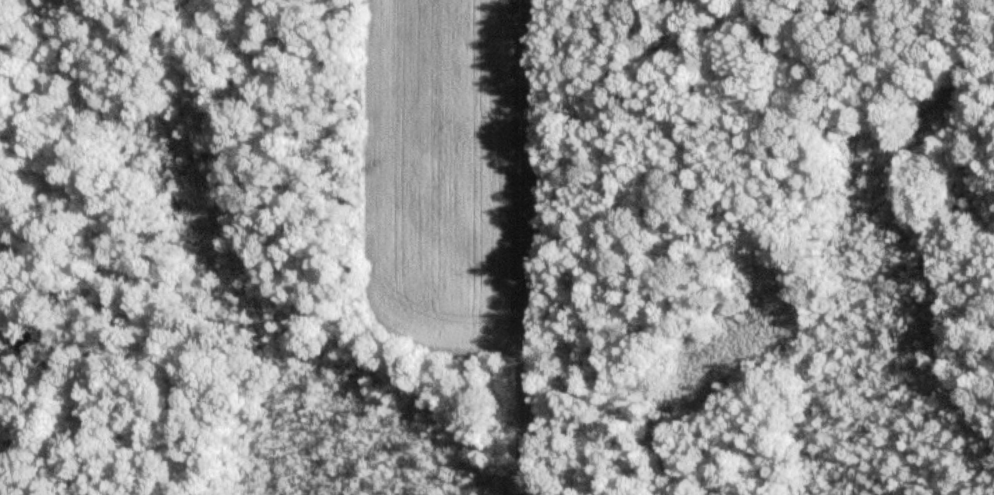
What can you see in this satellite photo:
road: (522, 247)

